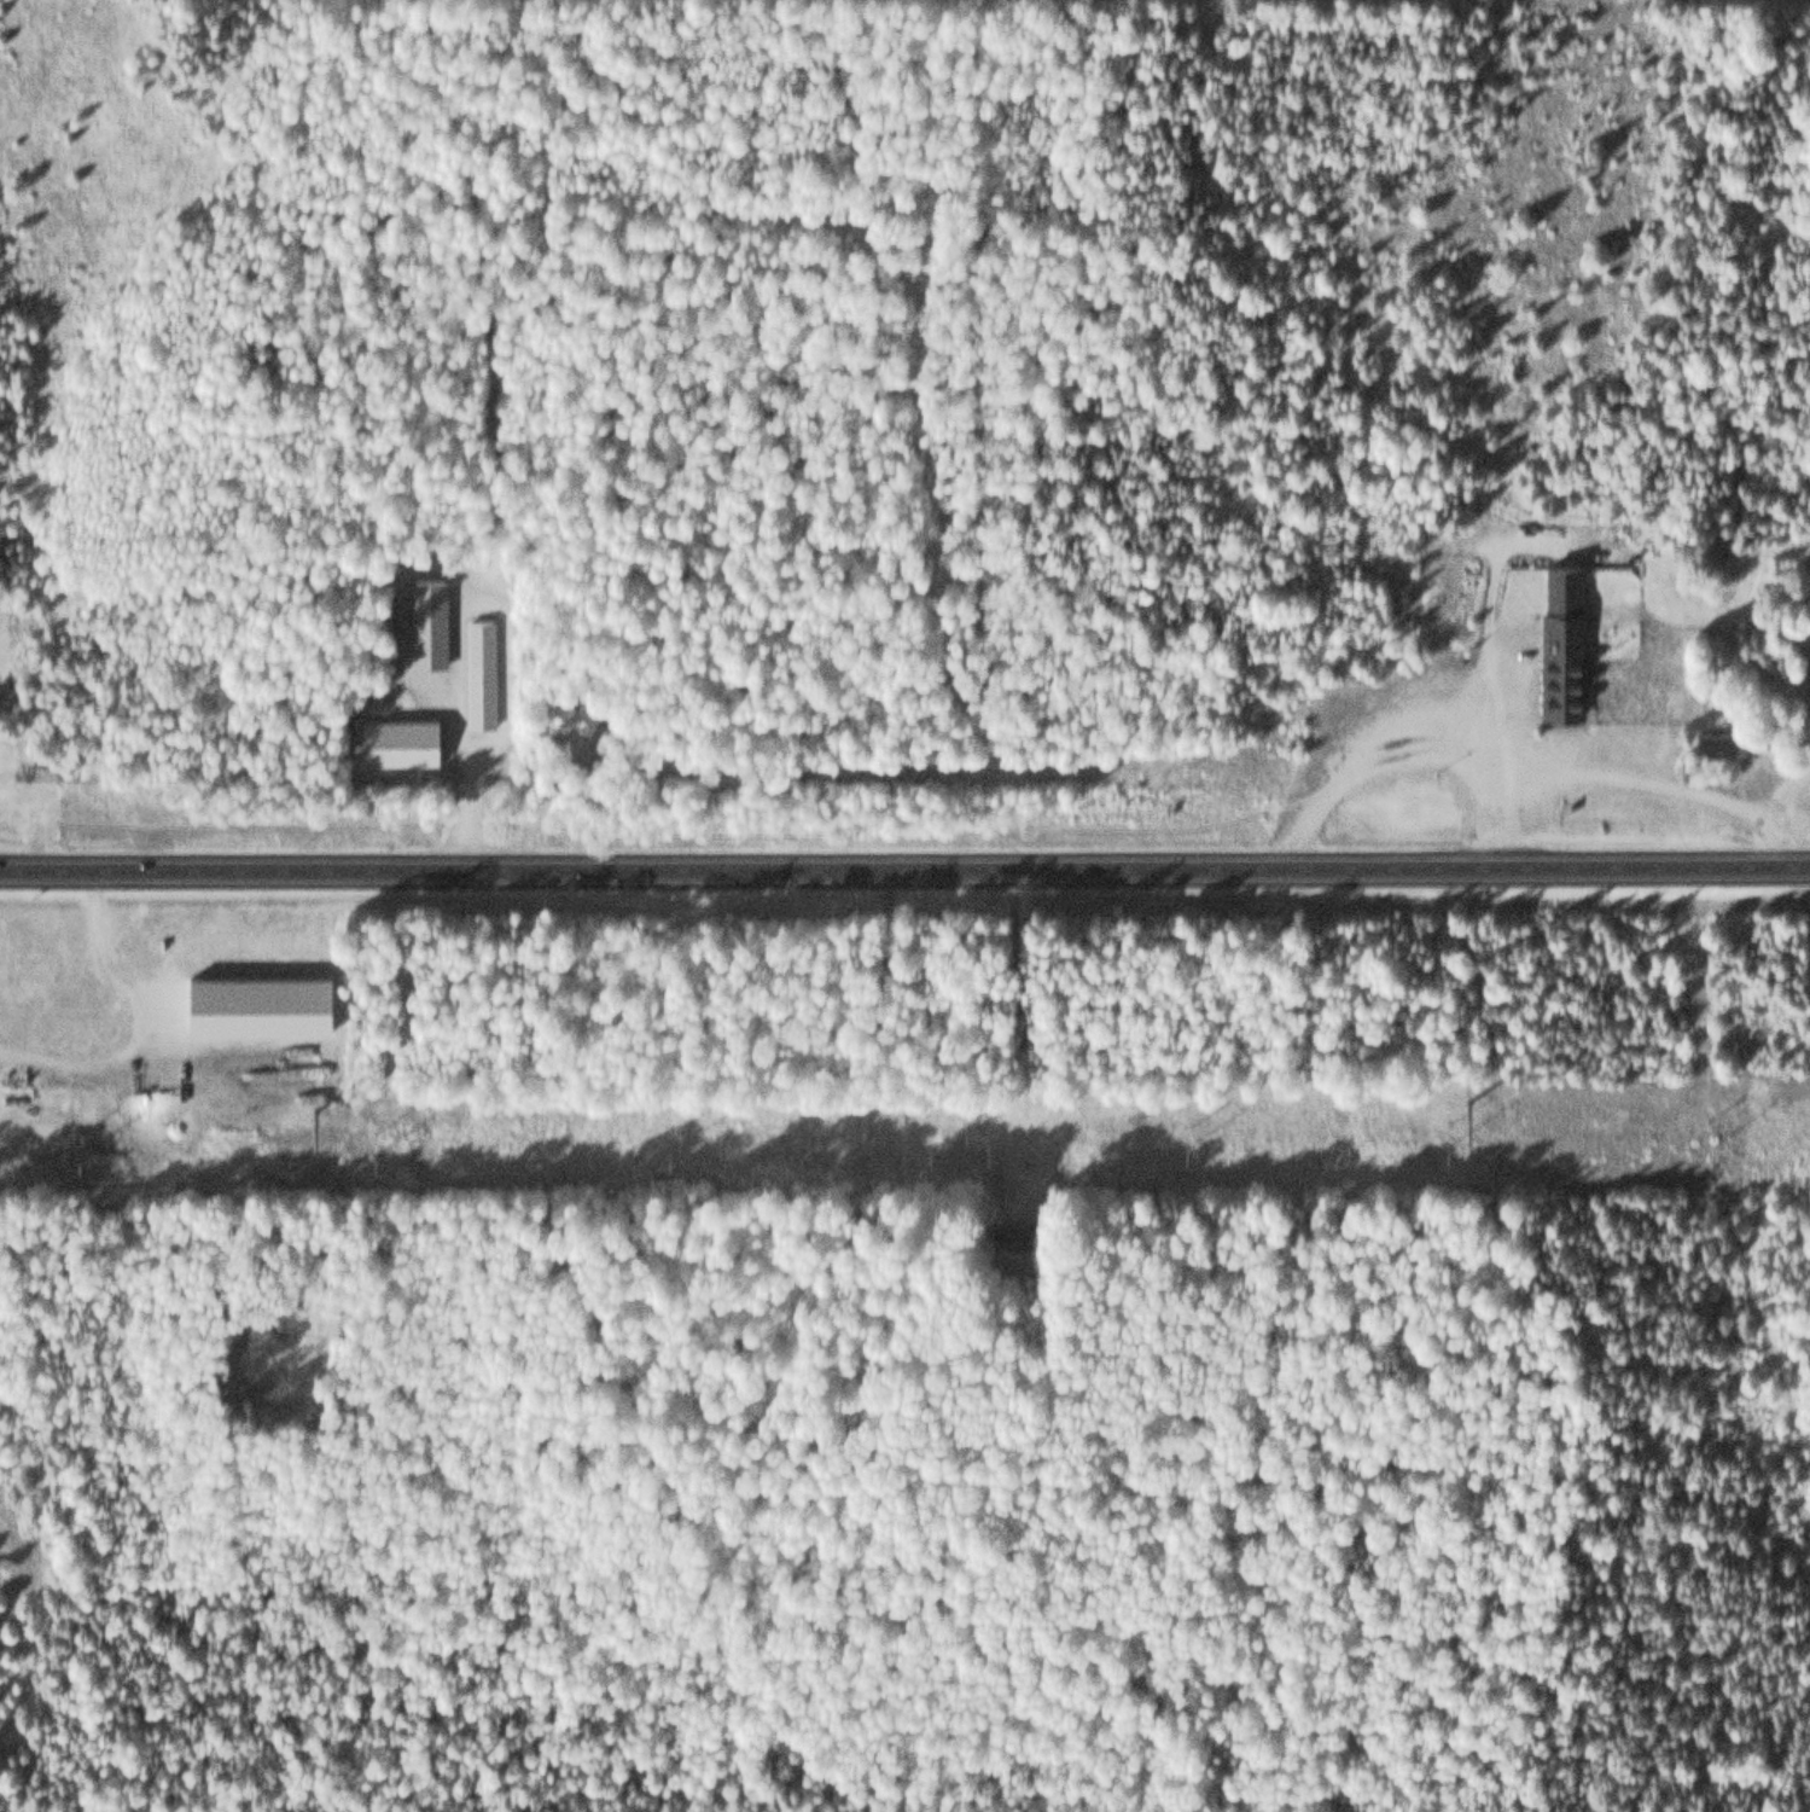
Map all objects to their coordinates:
building: (429, 622)
building: (1564, 645)
building: (482, 672)
building: (575, 715)
building: (396, 741)
building: (1718, 744)
road: (904, 866)
road: (1808, 927)
road: (868, 1039)
road: (1488, 1051)
power tower: (1461, 1096)
power tower: (312, 1105)
power tower: (904, 1105)
building: (1015, 1232)

